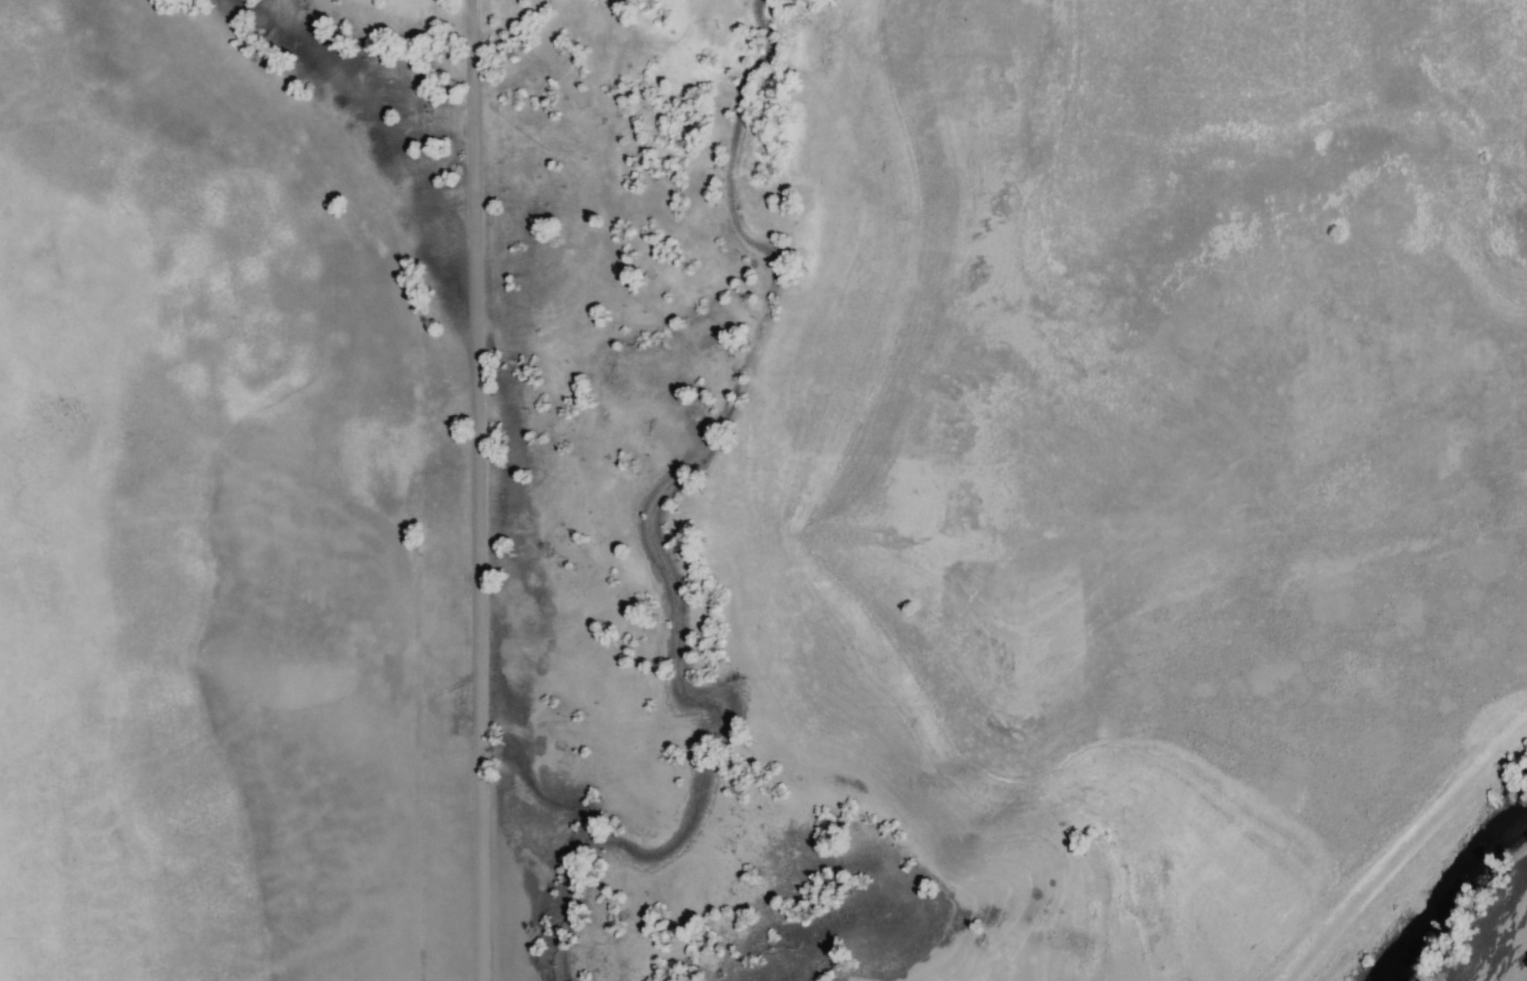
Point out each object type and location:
river: (1454, 892)

